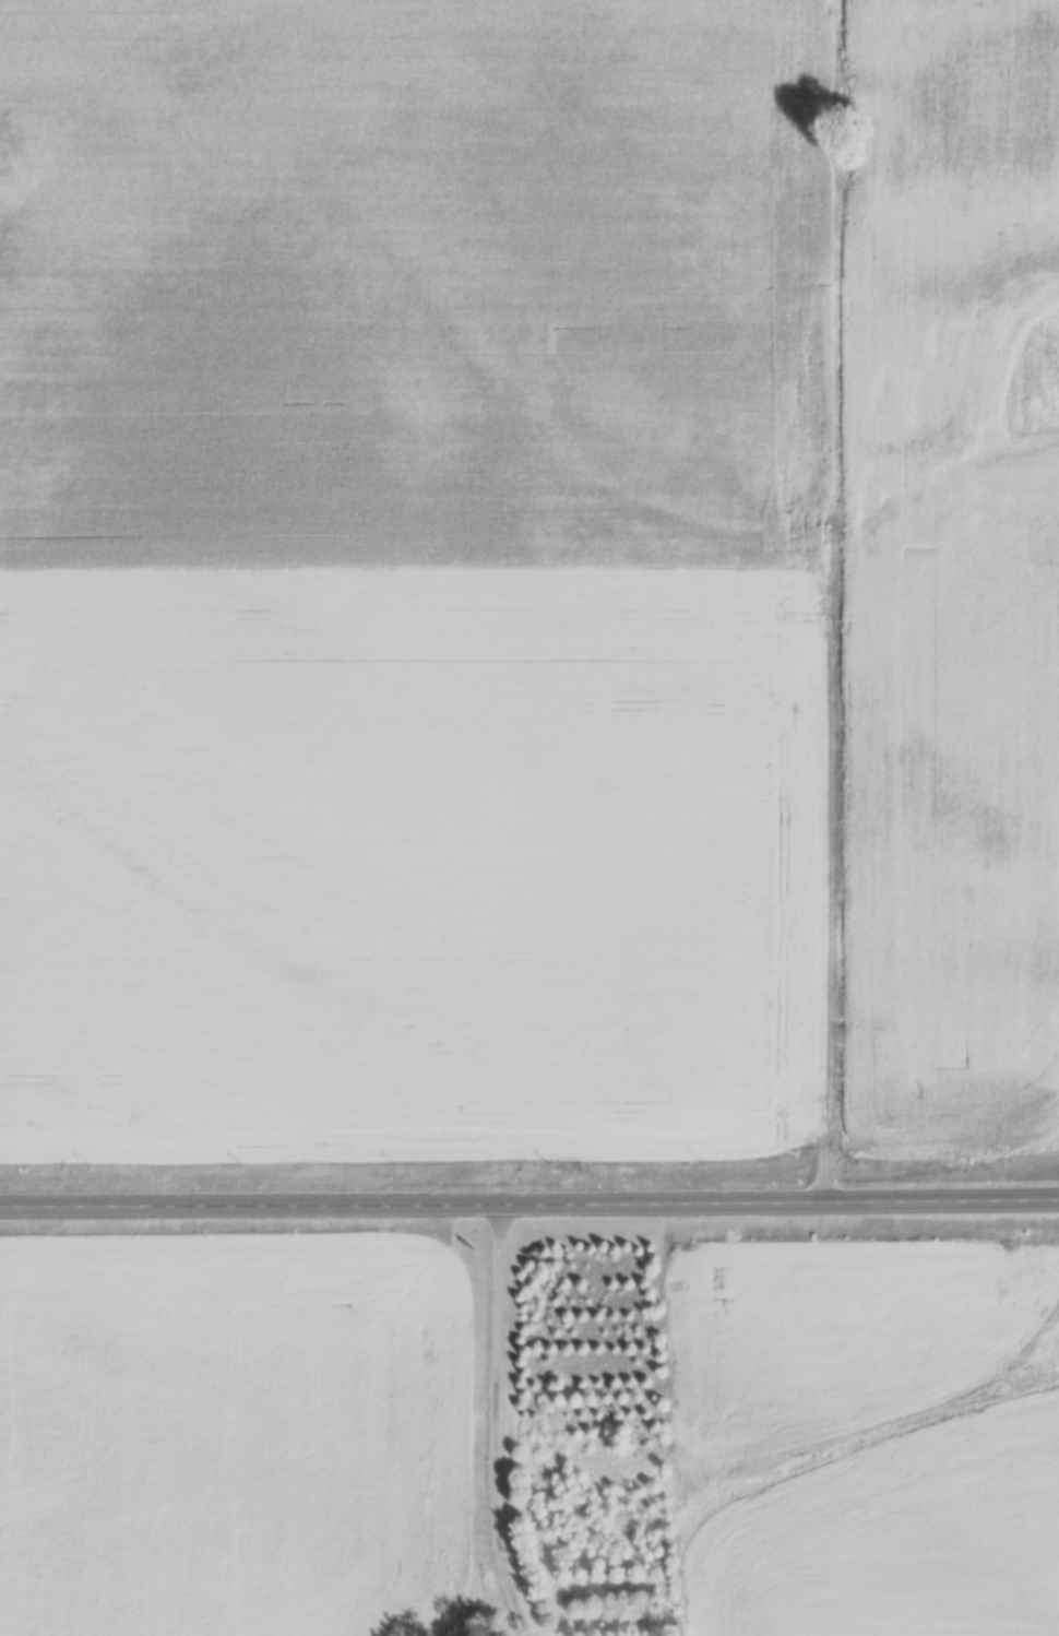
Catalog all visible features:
road: (529, 1198)
road: (496, 1420)

